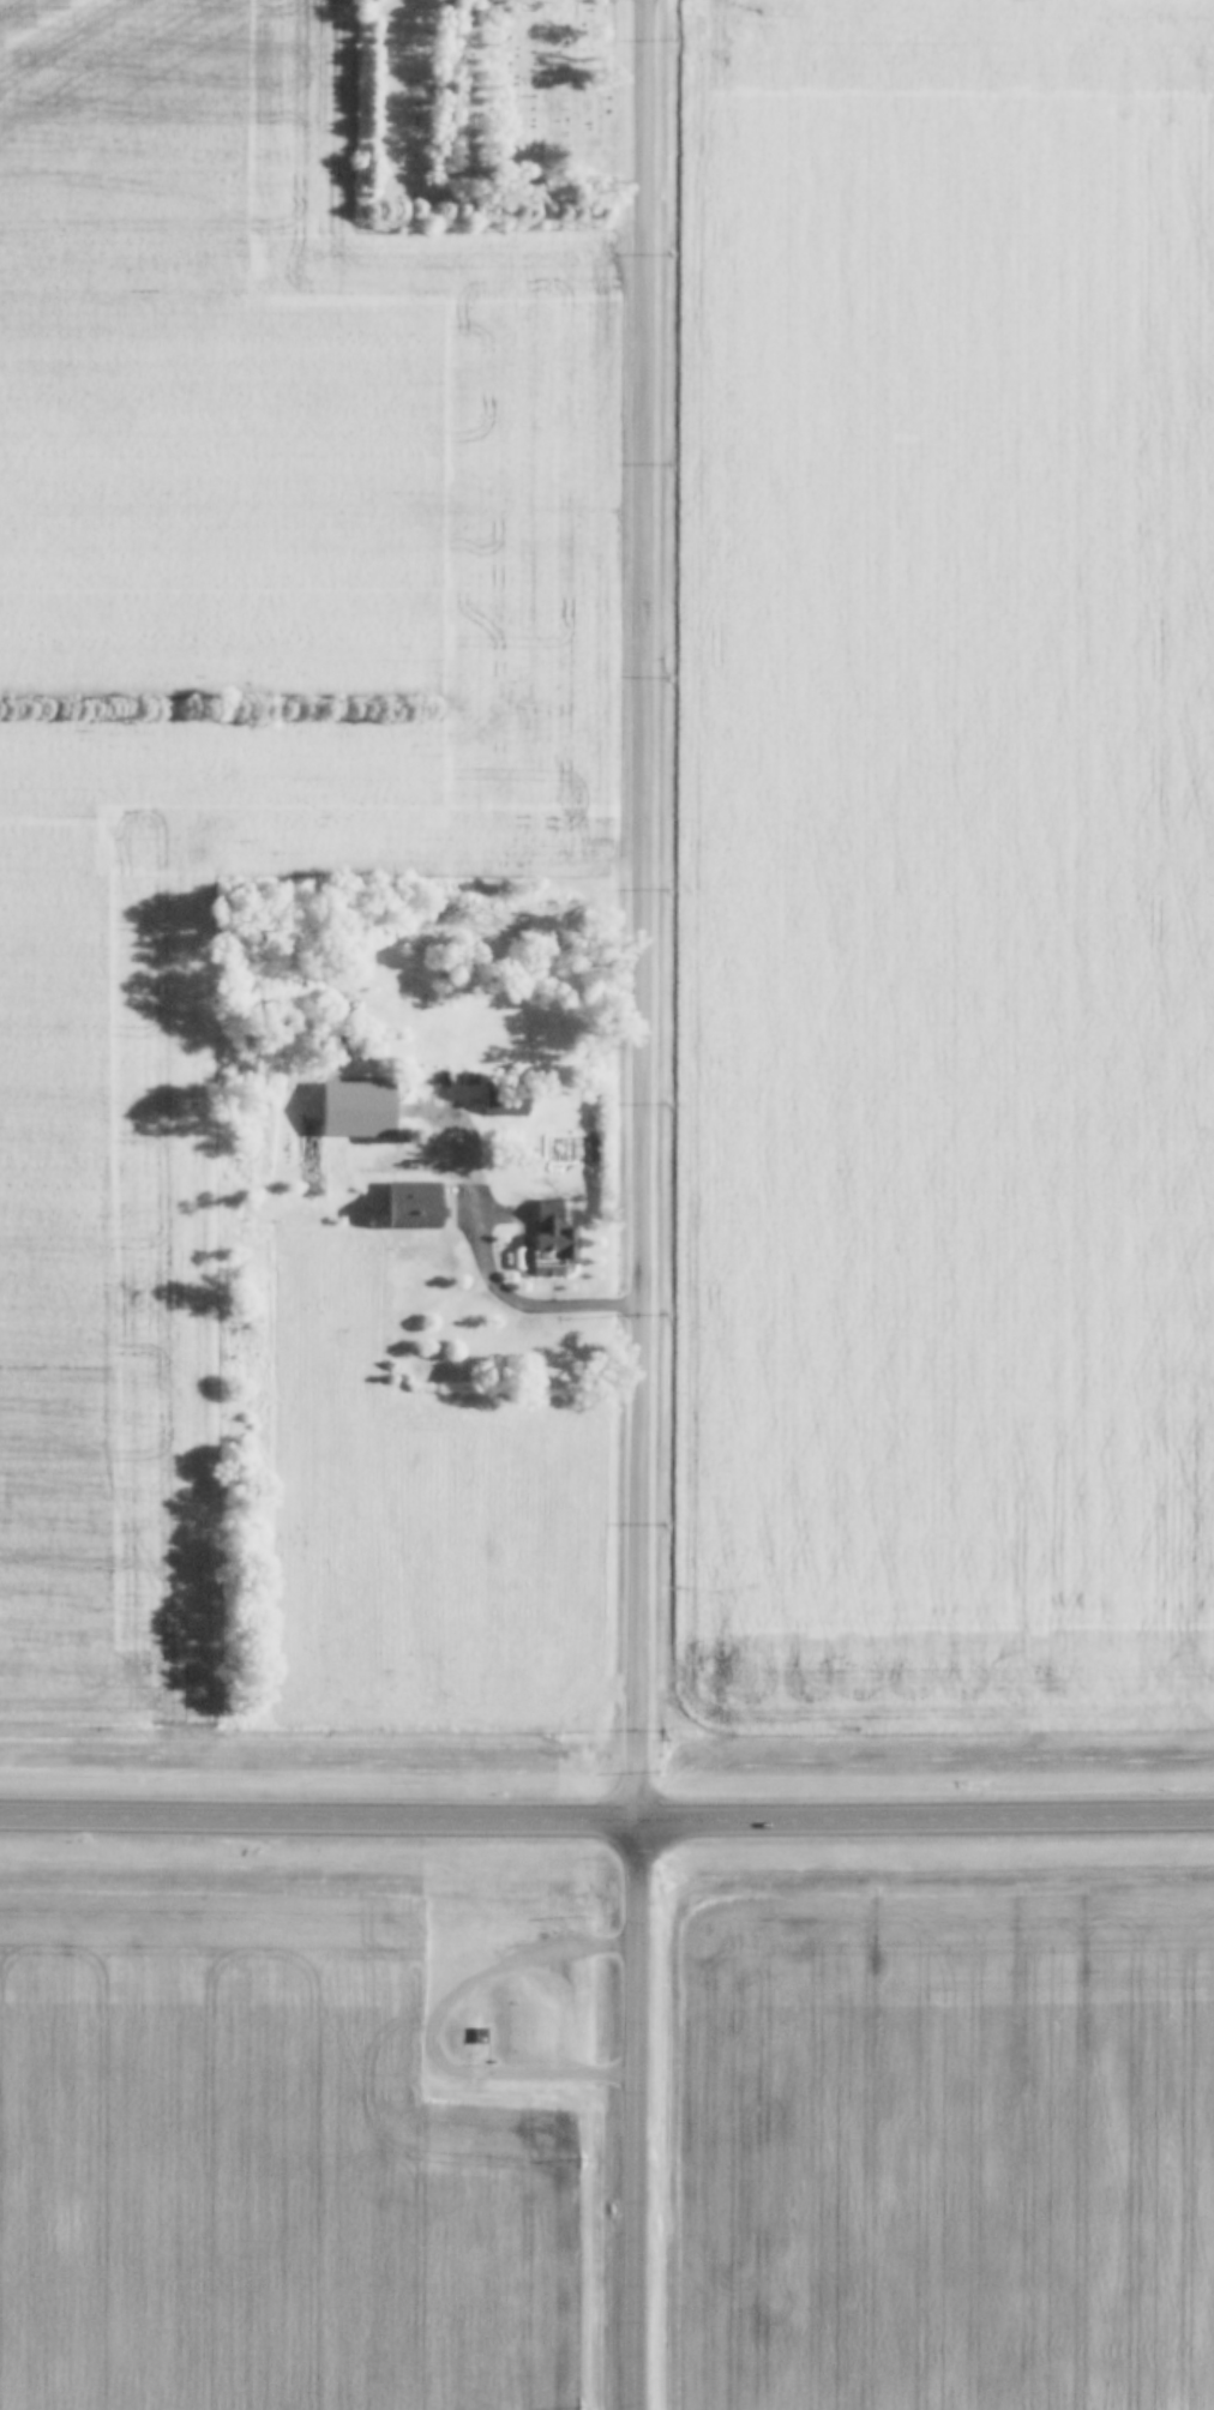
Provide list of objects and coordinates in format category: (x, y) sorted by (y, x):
park: (483, 115)
road: (645, 913)
building: (446, 1075)
building: (506, 1099)
building: (410, 1136)
silo: (410, 1136)
building: (414, 1204)
building: (555, 1231)
road: (503, 1291)
road: (926, 1821)
road: (319, 1823)
road: (438, 2035)
building: (477, 2036)
road: (639, 2117)

